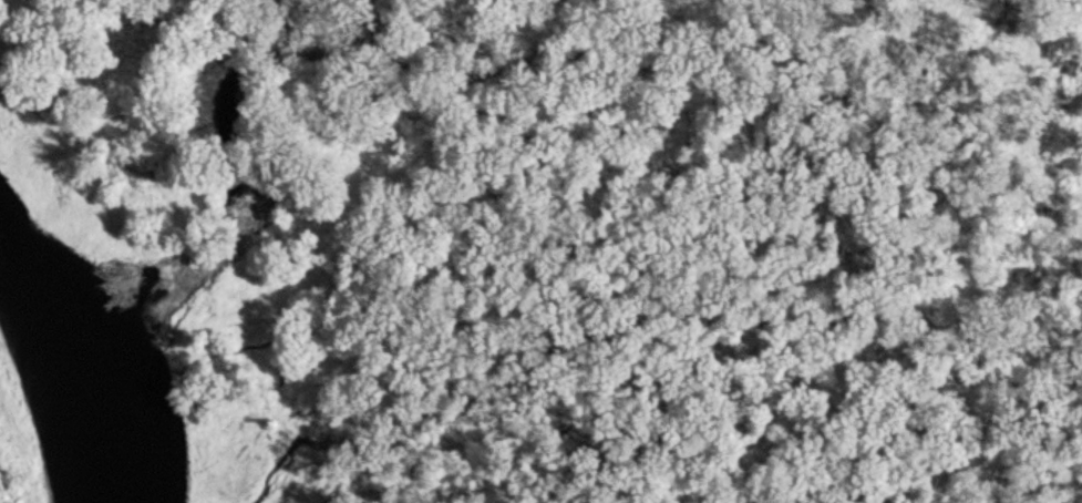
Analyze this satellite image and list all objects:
river: (78, 377)

